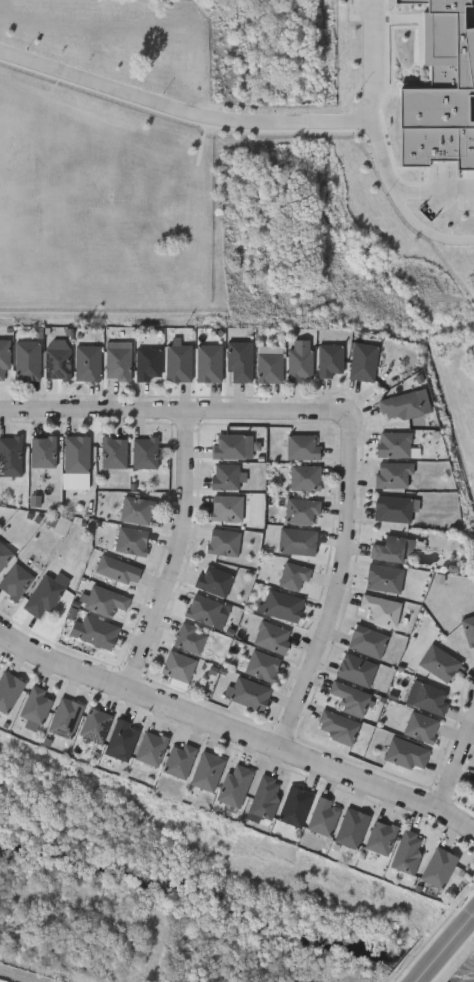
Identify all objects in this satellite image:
road: (238, 116)
road: (401, 182)
road: (430, 218)
building: (4, 359)
building: (330, 359)
building: (239, 361)
building: (363, 361)
building: (87, 362)
building: (147, 362)
building: (178, 362)
building: (209, 362)
building: (27, 363)
building: (57, 363)
building: (117, 363)
building: (299, 363)
building: (269, 366)
building: (400, 405)
road: (174, 412)
building: (394, 442)
building: (229, 446)
building: (302, 446)
building: (43, 451)
building: (114, 451)
building: (144, 452)
building: (76, 453)
building: (10, 455)
building: (394, 473)
building: (225, 475)
building: (305, 477)
building: (226, 507)
building: (392, 507)
building: (136, 509)
building: (302, 510)
building: (131, 540)
building: (297, 540)
building: (223, 541)
building: (391, 548)
building: (4, 554)
road: (176, 555)
building: (118, 569)
building: (293, 575)
building: (384, 577)
building: (214, 579)
building: (15, 580)
road: (337, 583)
building: (45, 594)
building: (104, 599)
building: (282, 605)
building: (380, 609)
building: (204, 610)
building: (468, 628)
building: (97, 631)
building: (272, 636)
building: (189, 637)
building: (367, 641)
building: (438, 662)
building: (261, 664)
building: (177, 665)
building: (356, 669)
building: (8, 689)
building: (248, 692)
building: (351, 698)
building: (430, 698)
building: (33, 706)
building: (64, 716)
building: (94, 723)
building: (337, 726)
building: (420, 726)
road: (237, 730)
building: (120, 739)
building: (150, 747)
building: (406, 752)
building: (179, 759)
road: (457, 764)
building: (207, 770)
building: (235, 784)
building: (473, 789)
building: (473, 793)
building: (265, 795)
building: (295, 805)
building: (323, 815)
building: (351, 827)
building: (380, 836)
building: (407, 851)
building: (438, 867)
road: (446, 947)

